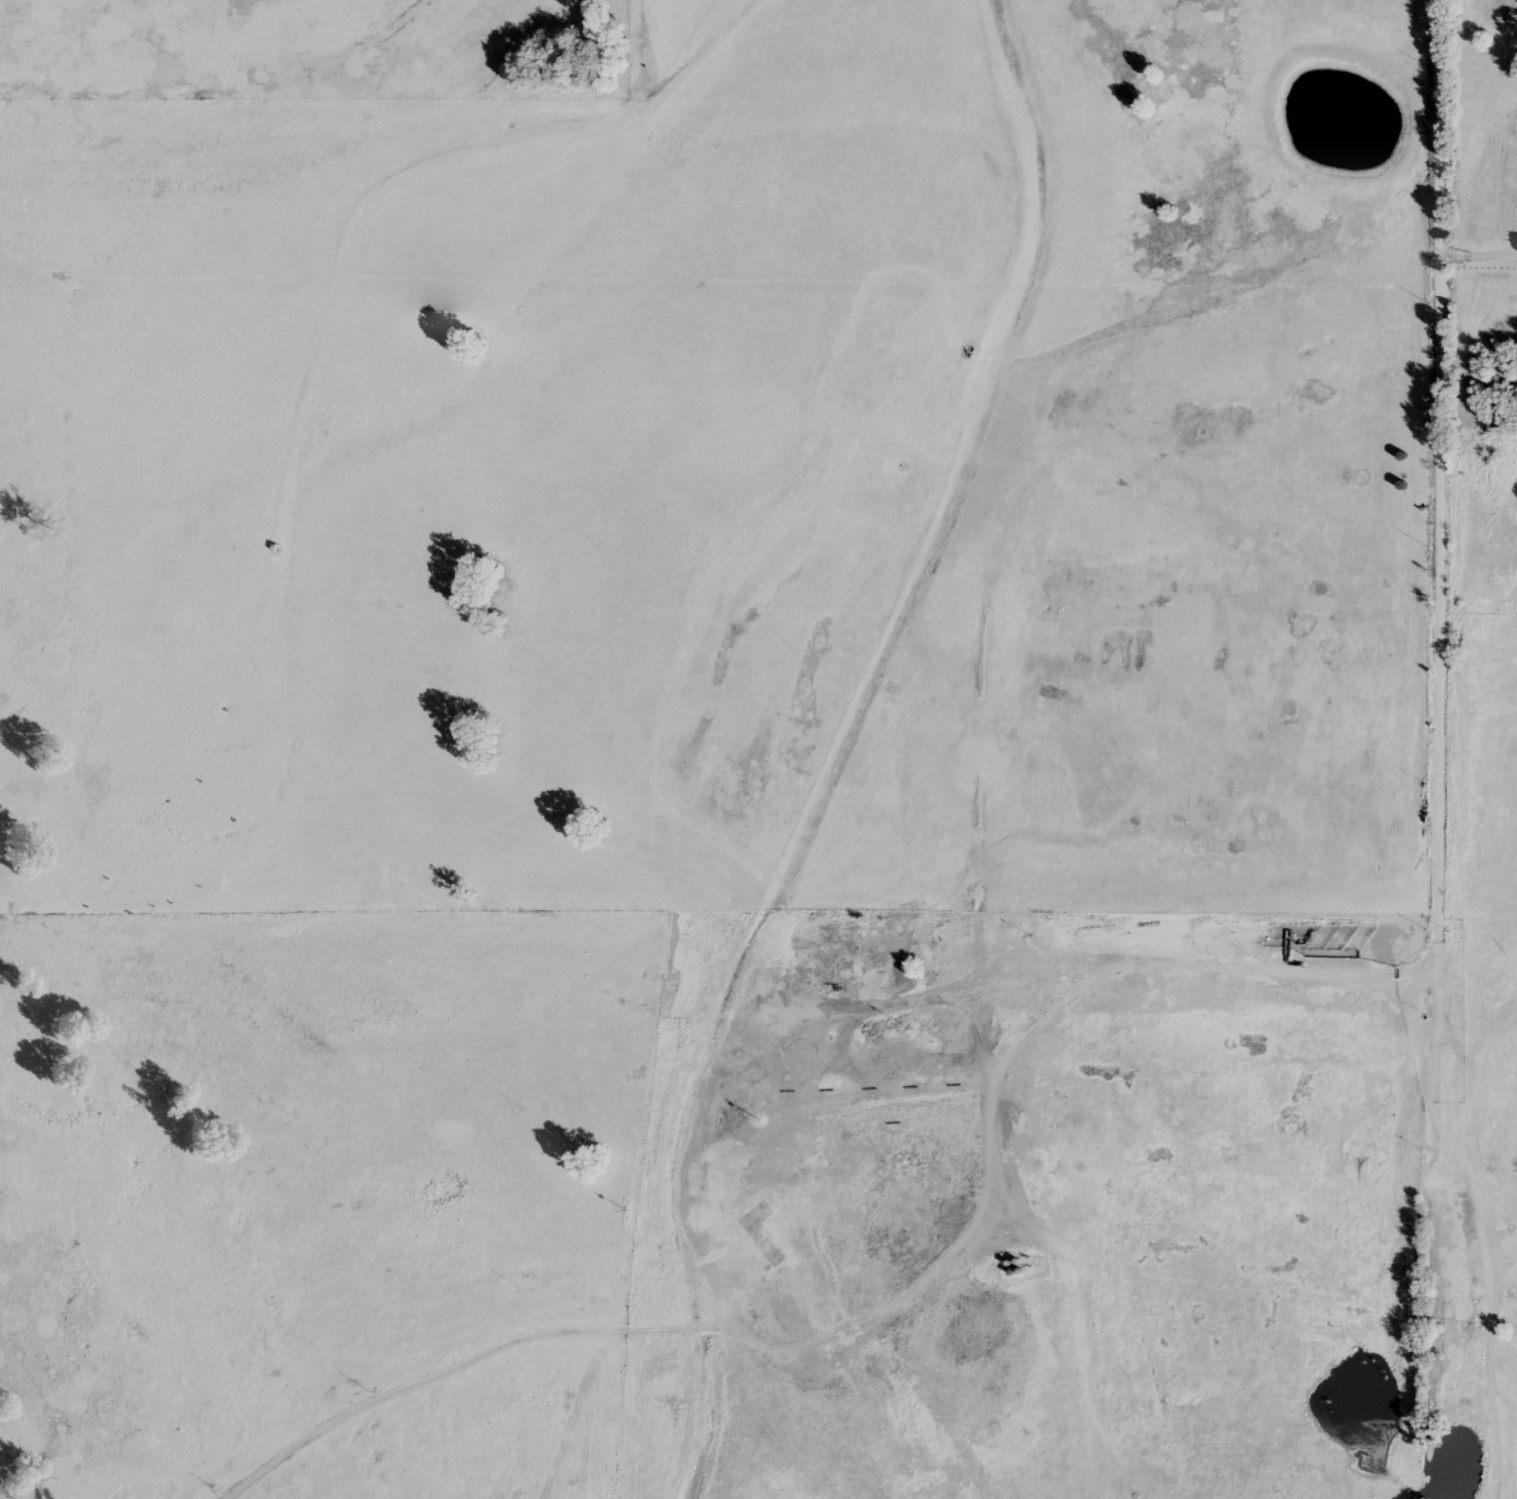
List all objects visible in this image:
road: (1484, 257)
road: (1448, 506)
road: (1139, 1027)
road: (1455, 1104)
road: (847, 1309)
road: (1448, 1349)

